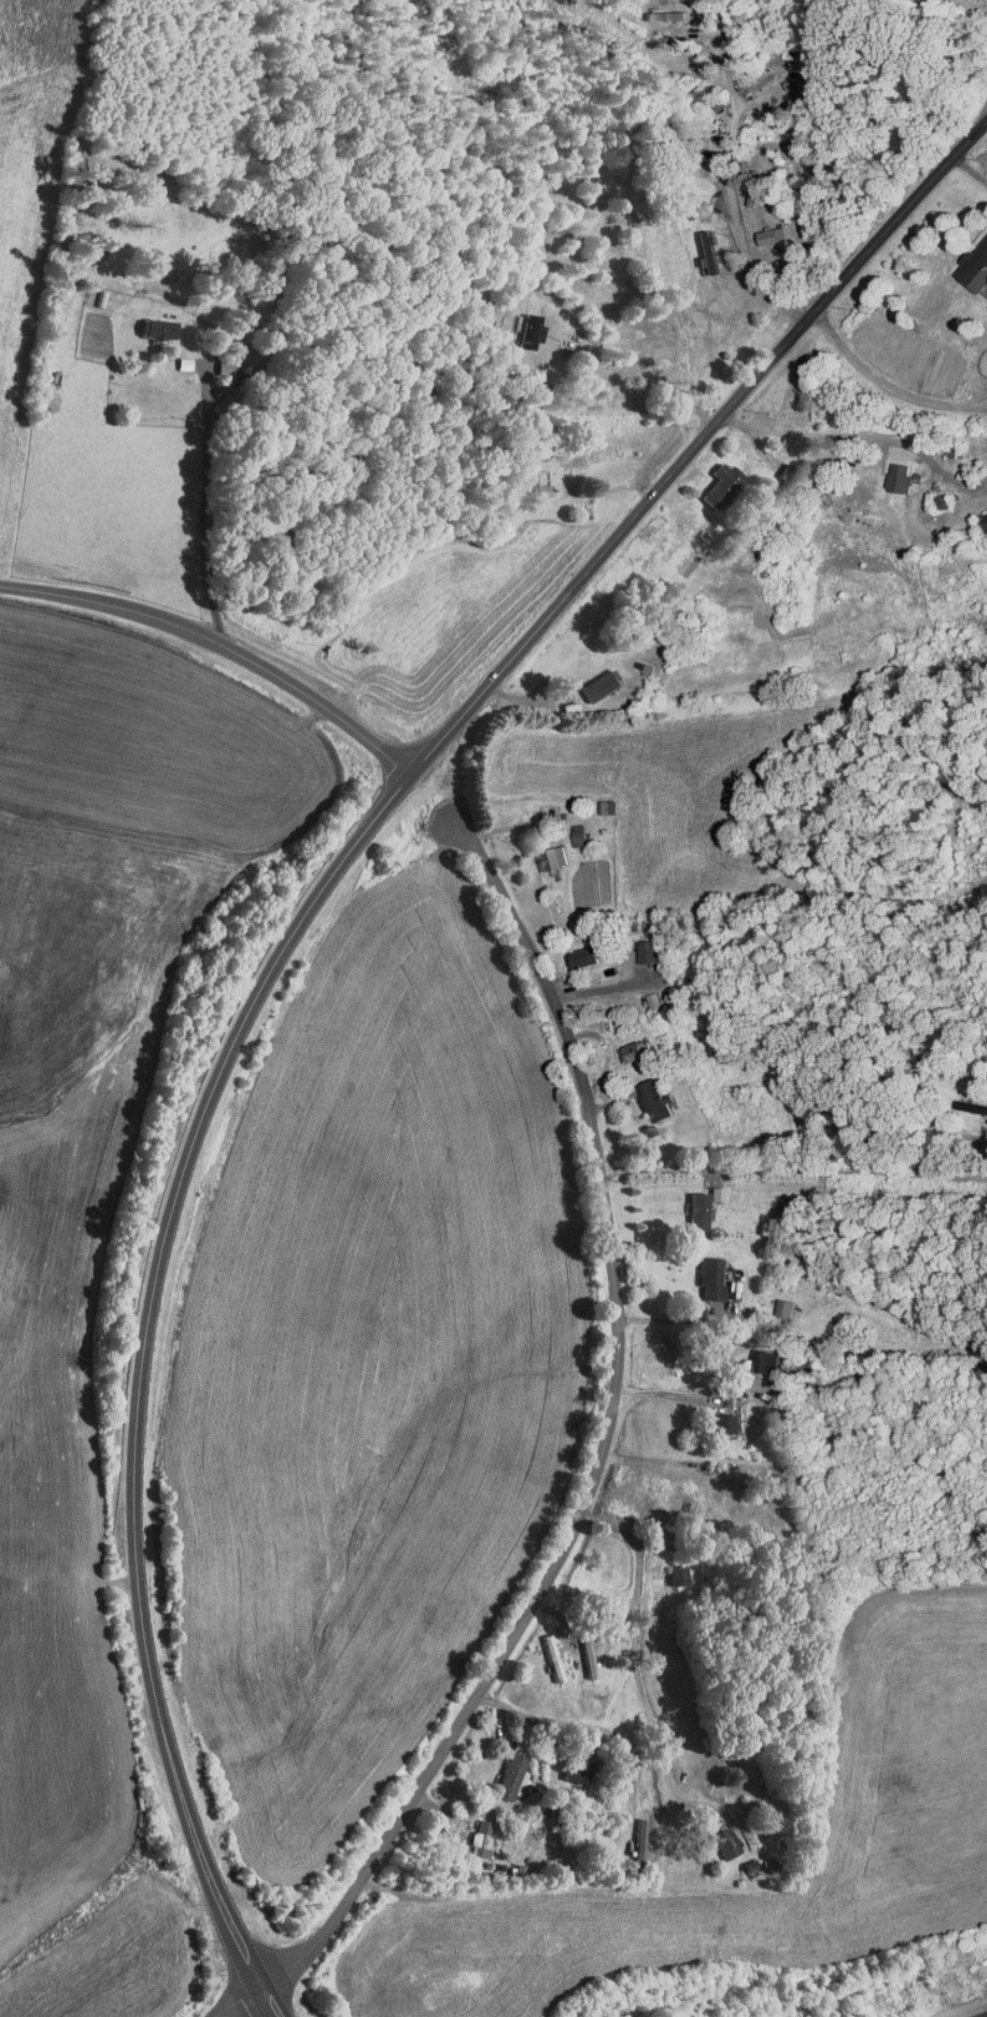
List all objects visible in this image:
road: (971, 170)
road: (730, 174)
building: (762, 229)
building: (698, 246)
building: (970, 257)
building: (148, 322)
building: (522, 325)
building: (175, 358)
road: (657, 383)
road: (889, 386)
road: (973, 400)
road: (852, 435)
road: (699, 450)
building: (986, 471)
building: (889, 472)
building: (530, 479)
building: (713, 479)
road: (205, 510)
building: (978, 515)
road: (722, 580)
road: (214, 644)
building: (592, 680)
building: (598, 801)
building: (568, 829)
building: (543, 853)
building: (638, 946)
building: (575, 951)
building: (629, 1044)
building: (645, 1095)
road: (795, 1170)
building: (708, 1188)
building: (690, 1206)
building: (702, 1273)
building: (776, 1302)
road: (130, 1371)
building: (711, 1419)
road: (607, 1439)
road: (626, 1650)
building: (545, 1654)
building: (580, 1654)
building: (501, 1770)
building: (513, 1776)
building: (472, 1833)
building: (632, 1834)
building: (718, 1836)
road: (240, 2003)

